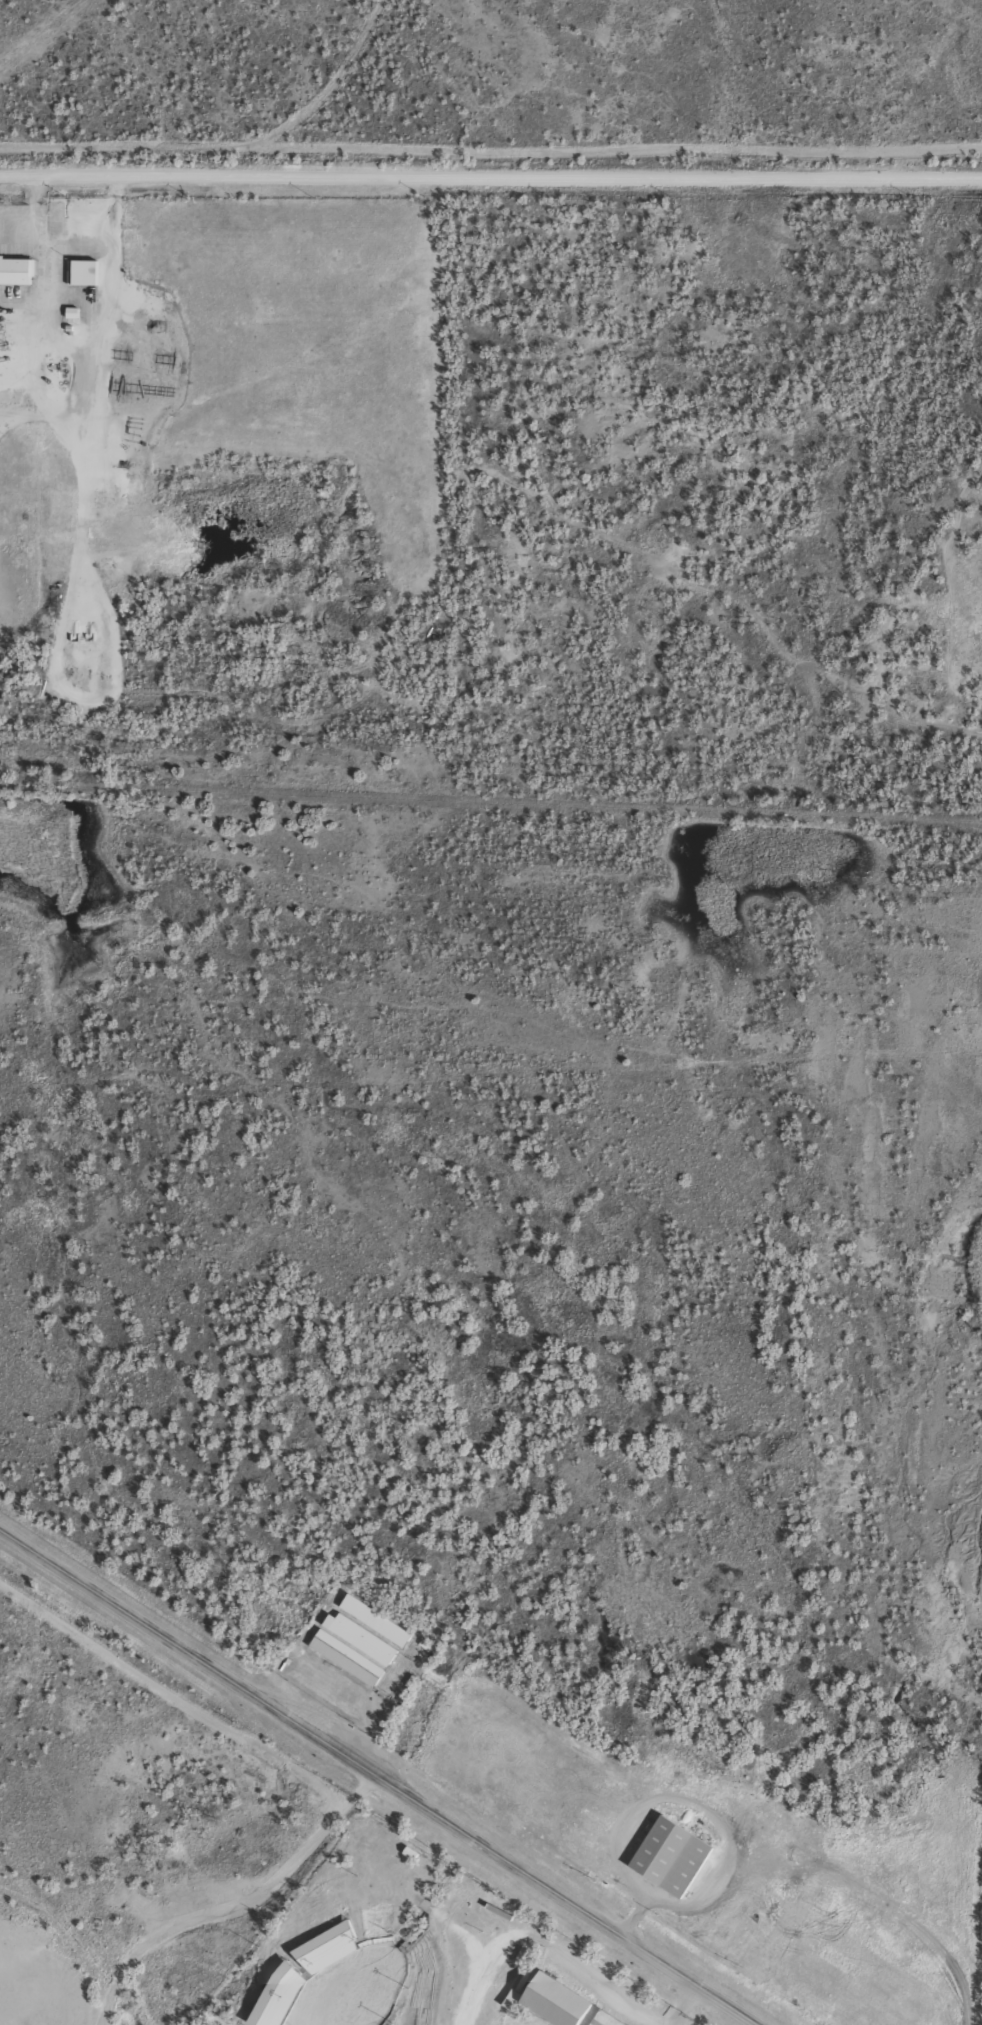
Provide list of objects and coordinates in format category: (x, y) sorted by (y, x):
road: (491, 175)
building: (16, 279)
building: (81, 280)
railway: (490, 783)
building: (357, 1648)
road: (369, 1781)
building: (670, 1864)
road: (239, 1914)
road: (543, 1950)
building: (327, 1956)
building: (280, 2000)
building: (551, 2007)
road: (683, 2010)

